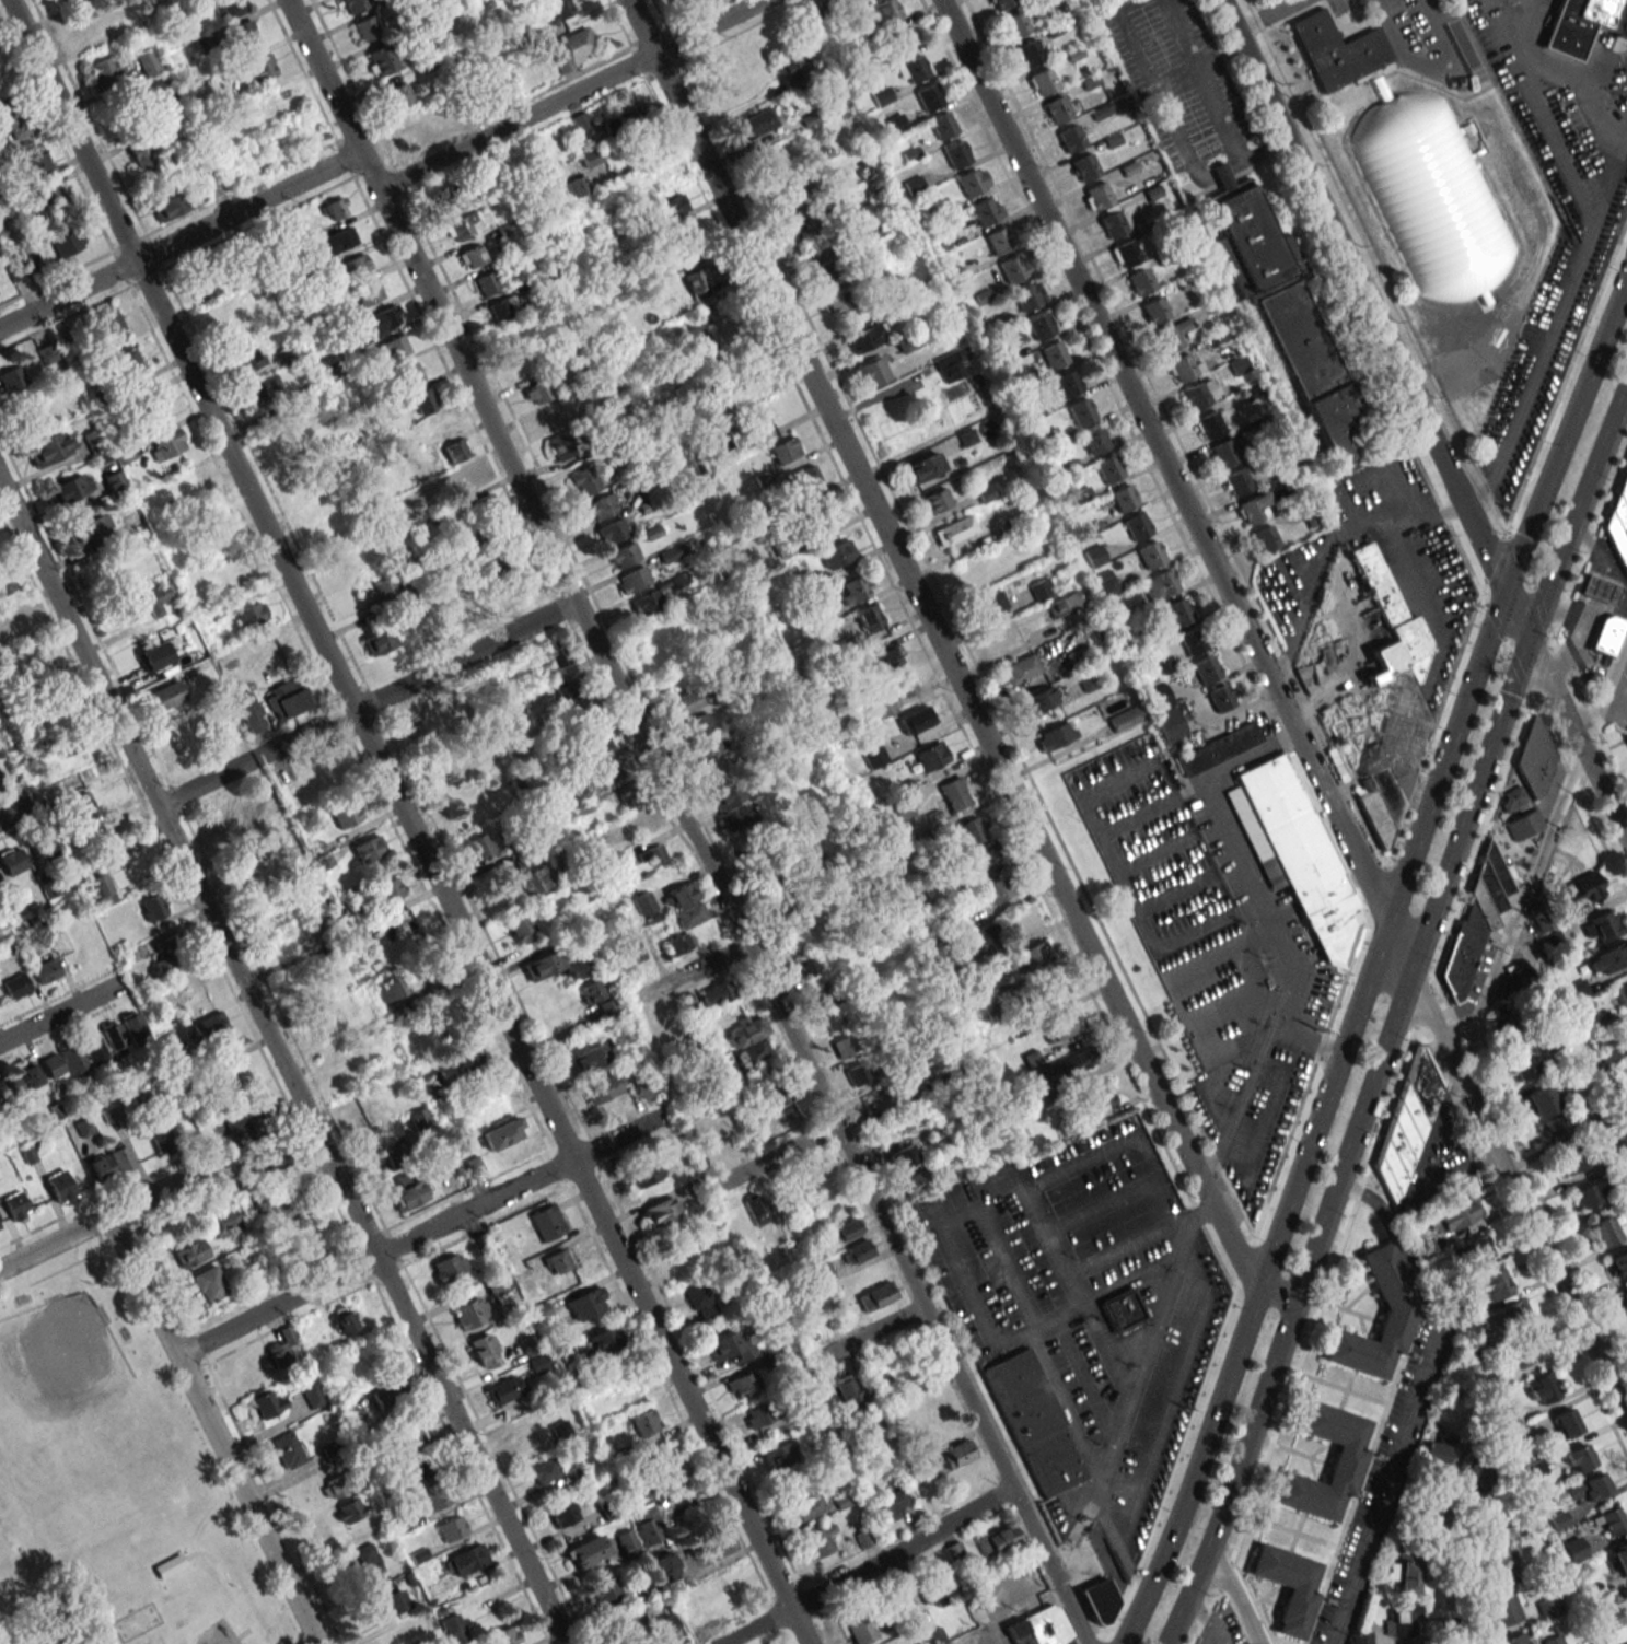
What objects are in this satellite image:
building: (63, 1)
building: (1001, 3)
building: (355, 5)
building: (229, 8)
building: (559, 10)
building: (887, 11)
road: (1267, 15)
road: (1427, 20)
building: (1015, 23)
building: (1585, 23)
building: (365, 28)
building: (243, 34)
building: (899, 40)
building: (571, 49)
building: (1337, 50)
building: (1029, 53)
road: (1193, 58)
building: (382, 60)
building: (148, 61)
building: (262, 67)
building: (793, 68)
building: (913, 69)
building: (105, 71)
road: (1562, 73)
building: (1042, 81)
road: (1177, 82)
road: (1154, 88)
building: (161, 90)
road: (571, 94)
building: (399, 95)
building: (881, 95)
building: (928, 97)
building: (281, 102)
building: (1057, 109)
building: (630, 119)
building: (11, 123)
building: (756, 123)
building: (896, 124)
building: (942, 125)
building: (1070, 138)
road: (1230, 141)
building: (822, 152)
building: (956, 154)
building: (590, 156)
building: (144, 158)
building: (34, 159)
building: (770, 164)
building: (1084, 166)
road: (1234, 166)
road: (1222, 173)
building: (973, 182)
building: (576, 186)
parking lot: (1555, 194)
building: (1097, 195)
building: (1390, 197)
building: (446, 198)
building: (878, 198)
building: (48, 200)
building: (172, 206)
building: (673, 206)
building: (335, 209)
building: (986, 210)
building: (1115, 222)
building: (461, 226)
building: (805, 229)
road: (179, 240)
building: (338, 241)
building: (998, 241)
building: (67, 243)
building: (688, 252)
building: (1127, 252)
building: (472, 257)
building: (356, 265)
building: (32, 267)
building: (1011, 269)
building: (825, 270)
building: (488, 280)
building: (1140, 281)
building: (697, 284)
building: (1451, 284)
building: (207, 285)
building: (369, 293)
building: (1029, 295)
building: (840, 300)
building: (502, 307)
road: (1368, 308)
building: (1153, 310)
building: (1286, 313)
building: (383, 318)
building: (107, 322)
building: (1039, 326)
building: (1174, 334)
building: (865, 337)
road: (1549, 338)
building: (697, 340)
building: (906, 342)
building: (395, 347)
building: (47, 353)
building: (286, 353)
building: (1054, 354)
building: (246, 358)
building: (128, 363)
building: (950, 364)
building: (527, 365)
building: (1183, 368)
building: (872, 372)
building: (410, 373)
building: (745, 376)
building: (12, 378)
building: (1067, 383)
building: (263, 390)
building: (538, 393)
building: (1197, 394)
building: (420, 400)
building: (150, 407)
building: (1081, 411)
building: (553, 419)
building: (1209, 424)
building: (1095, 440)
building: (93, 442)
building: (166, 445)
building: (560, 447)
building: (49, 448)
building: (785, 450)
building: (455, 451)
building: (1229, 451)
building: (922, 467)
building: (1109, 469)
building: (1626, 475)
building: (806, 476)
building: (469, 478)
building: (114, 481)
building: (583, 481)
building: (1236, 481)
building: (71, 487)
building: (1624, 492)
building: (1123, 498)
building: (937, 500)
building: (601, 508)
building: (1253, 508)
building: (485, 509)
building: (1619, 513)
building: (1312, 515)
building: (136, 524)
building: (1137, 526)
building: (954, 529)
building: (89, 530)
building: (613, 532)
building: (1264, 539)
building: (1616, 539)
road: (1326, 544)
building: (1009, 548)
building: (785, 549)
road: (1589, 550)
building: (837, 553)
building: (624, 555)
building: (1094, 555)
building: (1151, 555)
parking lot: (1383, 561)
building: (510, 563)
building: (634, 580)
building: (1107, 582)
building: (1159, 585)
traffic signals: (1504, 588)
building: (511, 590)
building: (855, 590)
building: (1039, 590)
building: (385, 591)
building: (1600, 591)
building: (158, 596)
building: (647, 603)
building: (992, 603)
building: (1064, 603)
building: (453, 611)
building: (249, 615)
building: (1173, 615)
building: (869, 618)
building: (1607, 636)
building: (1193, 640)
traffic signals: (1529, 640)
building: (377, 641)
building: (675, 646)
building: (558, 651)
road: (945, 654)
building: (154, 655)
building: (1076, 656)
building: (884, 660)
building: (537, 661)
road: (1477, 665)
building: (1023, 668)
building: (1207, 668)
road: (1543, 669)
building: (904, 685)
building: (567, 687)
building: (165, 695)
building: (288, 697)
building: (1220, 697)
building: (1039, 699)
building: (687, 700)
building: (1392, 703)
road: (365, 704)
road: (1285, 709)
building: (1163, 711)
road: (1590, 713)
building: (1125, 718)
building: (916, 719)
building: (699, 725)
road: (1572, 727)
building: (1054, 735)
building: (1626, 736)
building: (71, 738)
building: (177, 741)
building: (597, 743)
building: (708, 747)
building: (1219, 748)
building: (873, 755)
building: (478, 756)
building: (931, 756)
building: (611, 770)
building: (717, 770)
building: (0, 783)
building: (263, 792)
building: (725, 794)
building: (954, 794)
building: (477, 795)
building: (630, 796)
building: (1512, 798)
building: (81, 804)
building: (904, 809)
road: (18, 811)
building: (346, 815)
building: (737, 817)
road: (408, 821)
road: (686, 821)
building: (226, 824)
building: (1524, 825)
building: (640, 826)
building: (971, 830)
road: (1481, 838)
building: (480, 847)
road: (1545, 848)
building: (369, 849)
building: (47, 851)
building: (319, 854)
building: (294, 855)
building: (981, 856)
building: (1300, 856)
building: (112, 859)
building: (12, 860)
building: (247, 867)
building: (535, 881)
building: (53, 886)
building: (1584, 887)
building: (98, 889)
building: (388, 889)
building: (997, 889)
building: (643, 902)
building: (686, 905)
building: (152, 907)
building: (777, 908)
building: (1541, 920)
building: (1476, 921)
building: (1602, 925)
building: (520, 928)
road: (1257, 931)
building: (791, 938)
building: (975, 941)
building: (677, 944)
parking lot: (1213, 944)
building: (635, 951)
building: (1034, 956)
building: (1612, 956)
building: (166, 963)
building: (555, 966)
building: (805, 966)
building: (46, 970)
road: (686, 976)
building: (14, 987)
building: (388, 989)
building: (590, 992)
building: (714, 994)
building: (821, 994)
building: (1623, 994)
building: (364, 1002)
building: (689, 1006)
road: (1423, 1006)
road: (61, 1012)
road: (1397, 1014)
building: (832, 1019)
building: (133, 1026)
building: (209, 1026)
building: (1062, 1026)
building: (671, 1027)
building: (746, 1030)
building: (114, 1036)
building: (167, 1041)
building: (845, 1046)
building: (82, 1052)
building: (752, 1053)
building: (467, 1058)
building: (586, 1058)
building: (1078, 1060)
road: (281, 1063)
building: (53, 1064)
building: (1525, 1066)
building: (725, 1068)
building: (856, 1074)
building: (31, 1075)
building: (224, 1076)
building: (646, 1086)
building: (9, 1087)
building: (603, 1087)
building: (906, 1094)
building: (1102, 1097)
building: (1542, 1100)
building: (871, 1104)
building: (1410, 1106)
building: (111, 1114)
building: (240, 1118)
building: (419, 1118)
building: (1556, 1128)
building: (720, 1132)
building: (160, 1133)
building: (501, 1133)
building: (962, 1152)
building: (398, 1154)
road: (774, 1157)
building: (900, 1157)
building: (120, 1158)
building: (1578, 1161)
building: (274, 1163)
building: (102, 1169)
building: (641, 1174)
building: (913, 1184)
building: (70, 1186)
building: (408, 1192)
building: (1591, 1192)
building: (13, 1203)
building: (270, 1206)
building: (755, 1209)
building: (658, 1212)
building: (1453, 1215)
building: (734, 1216)
road: (104, 1219)
building: (226, 1219)
building: (544, 1224)
building: (0, 1228)
building: (844, 1231)
building: (1603, 1231)
road: (419, 1235)
road: (1402, 1246)
building: (1479, 1248)
building: (681, 1249)
building: (858, 1250)
building: (190, 1254)
building: (558, 1261)
building: (1618, 1262)
building: (449, 1267)
building: (253, 1272)
building: (209, 1284)
building: (1496, 1284)
building: (499, 1289)
road: (1323, 1294)
building: (875, 1295)
building: (700, 1298)
building: (1624, 1298)
road: (1286, 1301)
building: (586, 1303)
parking lot: (1085, 1306)
building: (1399, 1309)
building: (1123, 1310)
building: (472, 1311)
building: (1503, 1316)
building: (342, 1319)
road: (1155, 1326)
road: (869, 1333)
building: (607, 1339)
building: (731, 1345)
building: (485, 1351)
building: (1524, 1351)
road: (1235, 1353)
building: (363, 1356)
park: (63, 1359)
building: (742, 1384)
building: (1542, 1387)
building: (503, 1389)
building: (848, 1391)
building: (311, 1394)
building: (390, 1396)
building: (267, 1404)
building: (933, 1411)
building: (758, 1415)
building: (1034, 1420)
building: (644, 1423)
building: (1564, 1423)
building: (1513, 1425)
road: (213, 1430)
building: (946, 1431)
building: (407, 1436)
building: (329, 1449)
building: (287, 1450)
building: (956, 1454)
building: (1433, 1454)
building: (778, 1456)
building: (1578, 1458)
building: (1346, 1460)
building: (422, 1468)
building: (544, 1470)
building: (967, 1474)
park: (113, 1479)
building: (1476, 1480)
building: (338, 1484)
building: (1587, 1488)
road: (1385, 1489)
building: (437, 1497)
building: (887, 1506)
building: (806, 1507)
building: (350, 1511)
building: (562, 1513)
building: (1611, 1520)
building: (1497, 1527)
building: (451, 1528)
building: (648, 1530)
building: (820, 1540)
building: (996, 1540)
building: (627, 1543)
building: (584, 1551)
building: (953, 1551)
building: (1619, 1558)
building: (368, 1560)
building: (463, 1561)
building: (168, 1566)
building: (665, 1566)
road: (867, 1569)
building: (1500, 1569)
building: (1407, 1573)
road: (1453, 1573)
road: (1224, 1575)
building: (1286, 1586)
road: (229, 1587)
building: (933, 1588)
building: (603, 1590)
building: (1624, 1591)
road: (1232, 1595)
building: (395, 1600)
building: (1099, 1601)
building: (1547, 1606)
building: (1504, 1608)
building: (686, 1613)
road: (1205, 1617)
road: (1208, 1619)
building: (1608, 1619)
building: (1403, 1620)
park: (138, 1623)
building: (658, 1625)
building: (1046, 1626)
building: (453, 1628)
building: (860, 1629)
road: (245, 1633)
building: (504, 1636)
building: (1513, 1639)
building: (1553, 1640)

